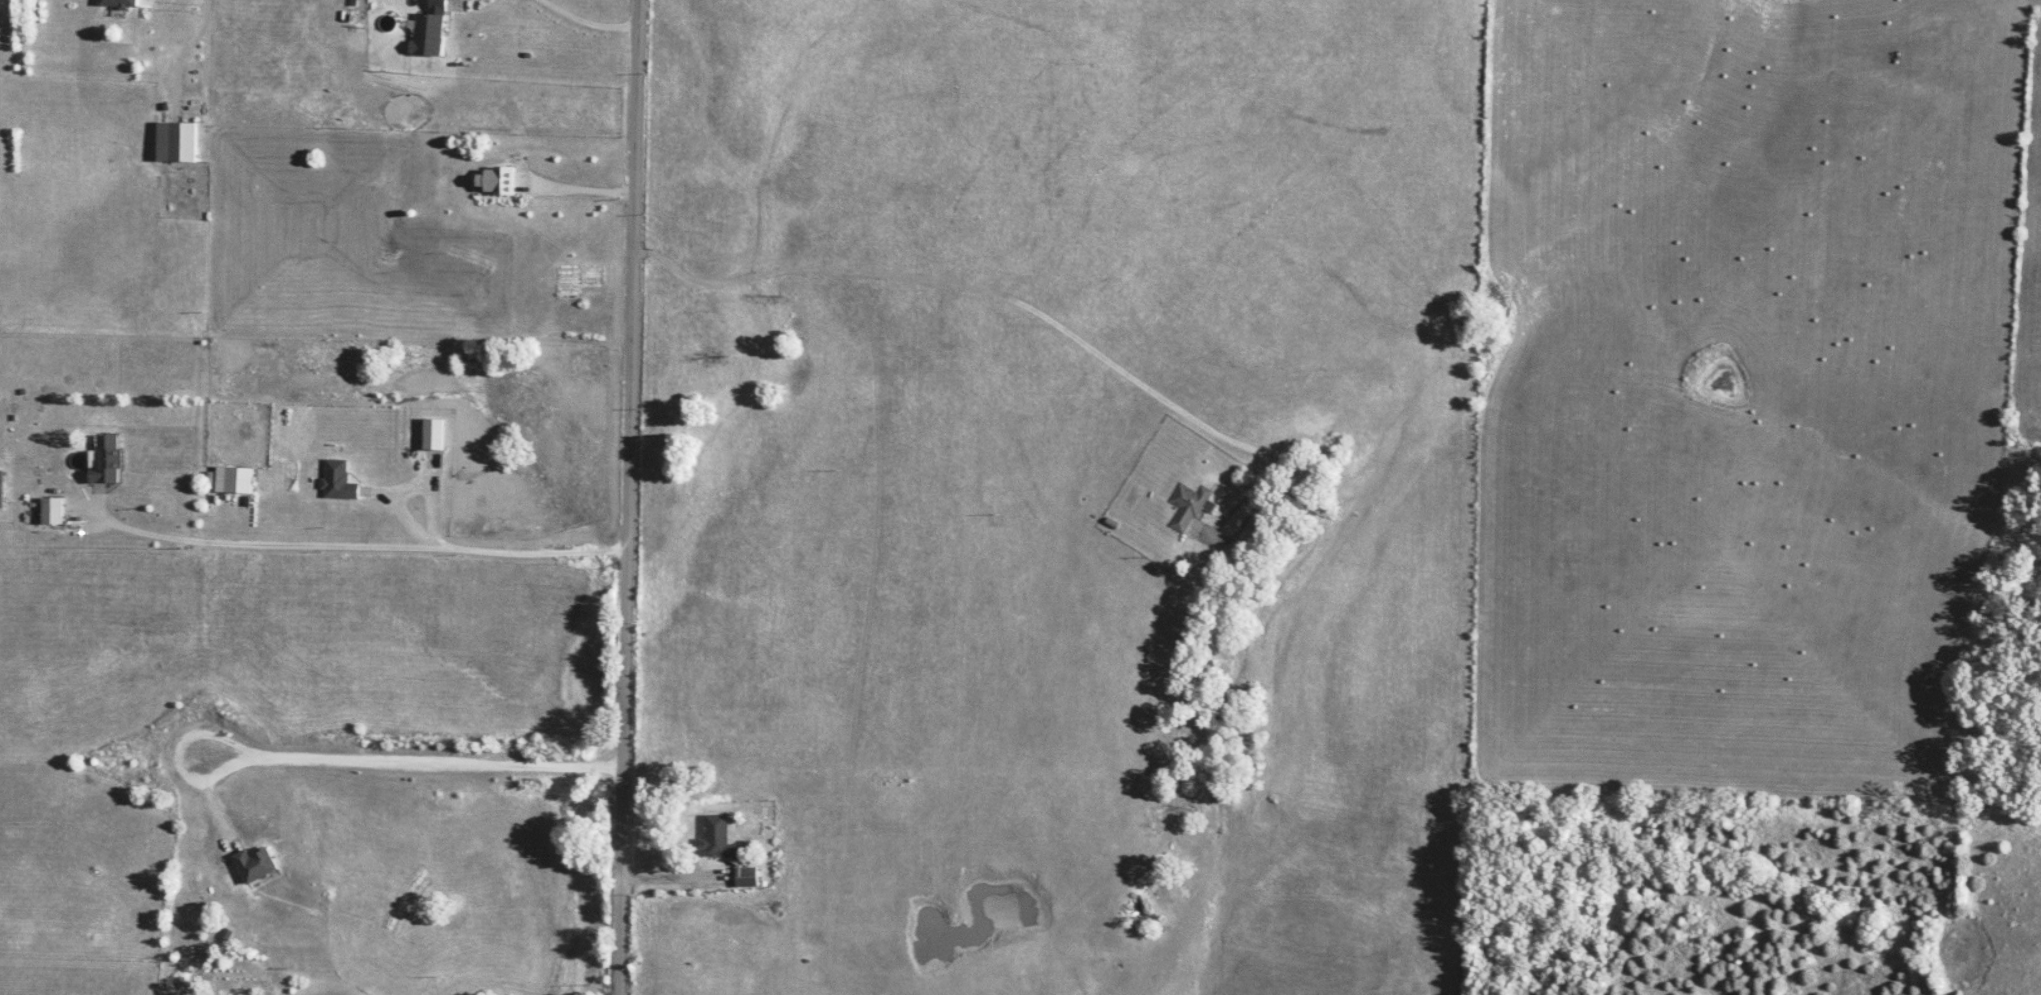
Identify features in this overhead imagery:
building: (117, 3)
road: (595, 18)
building: (426, 35)
road: (186, 48)
building: (175, 142)
building: (497, 180)
road: (1018, 304)
building: (433, 435)
building: (105, 461)
building: (233, 480)
building: (337, 481)
road: (633, 497)
building: (1187, 507)
building: (51, 511)
road: (358, 550)
road: (385, 757)
building: (727, 850)
building: (254, 865)
road: (684, 880)

